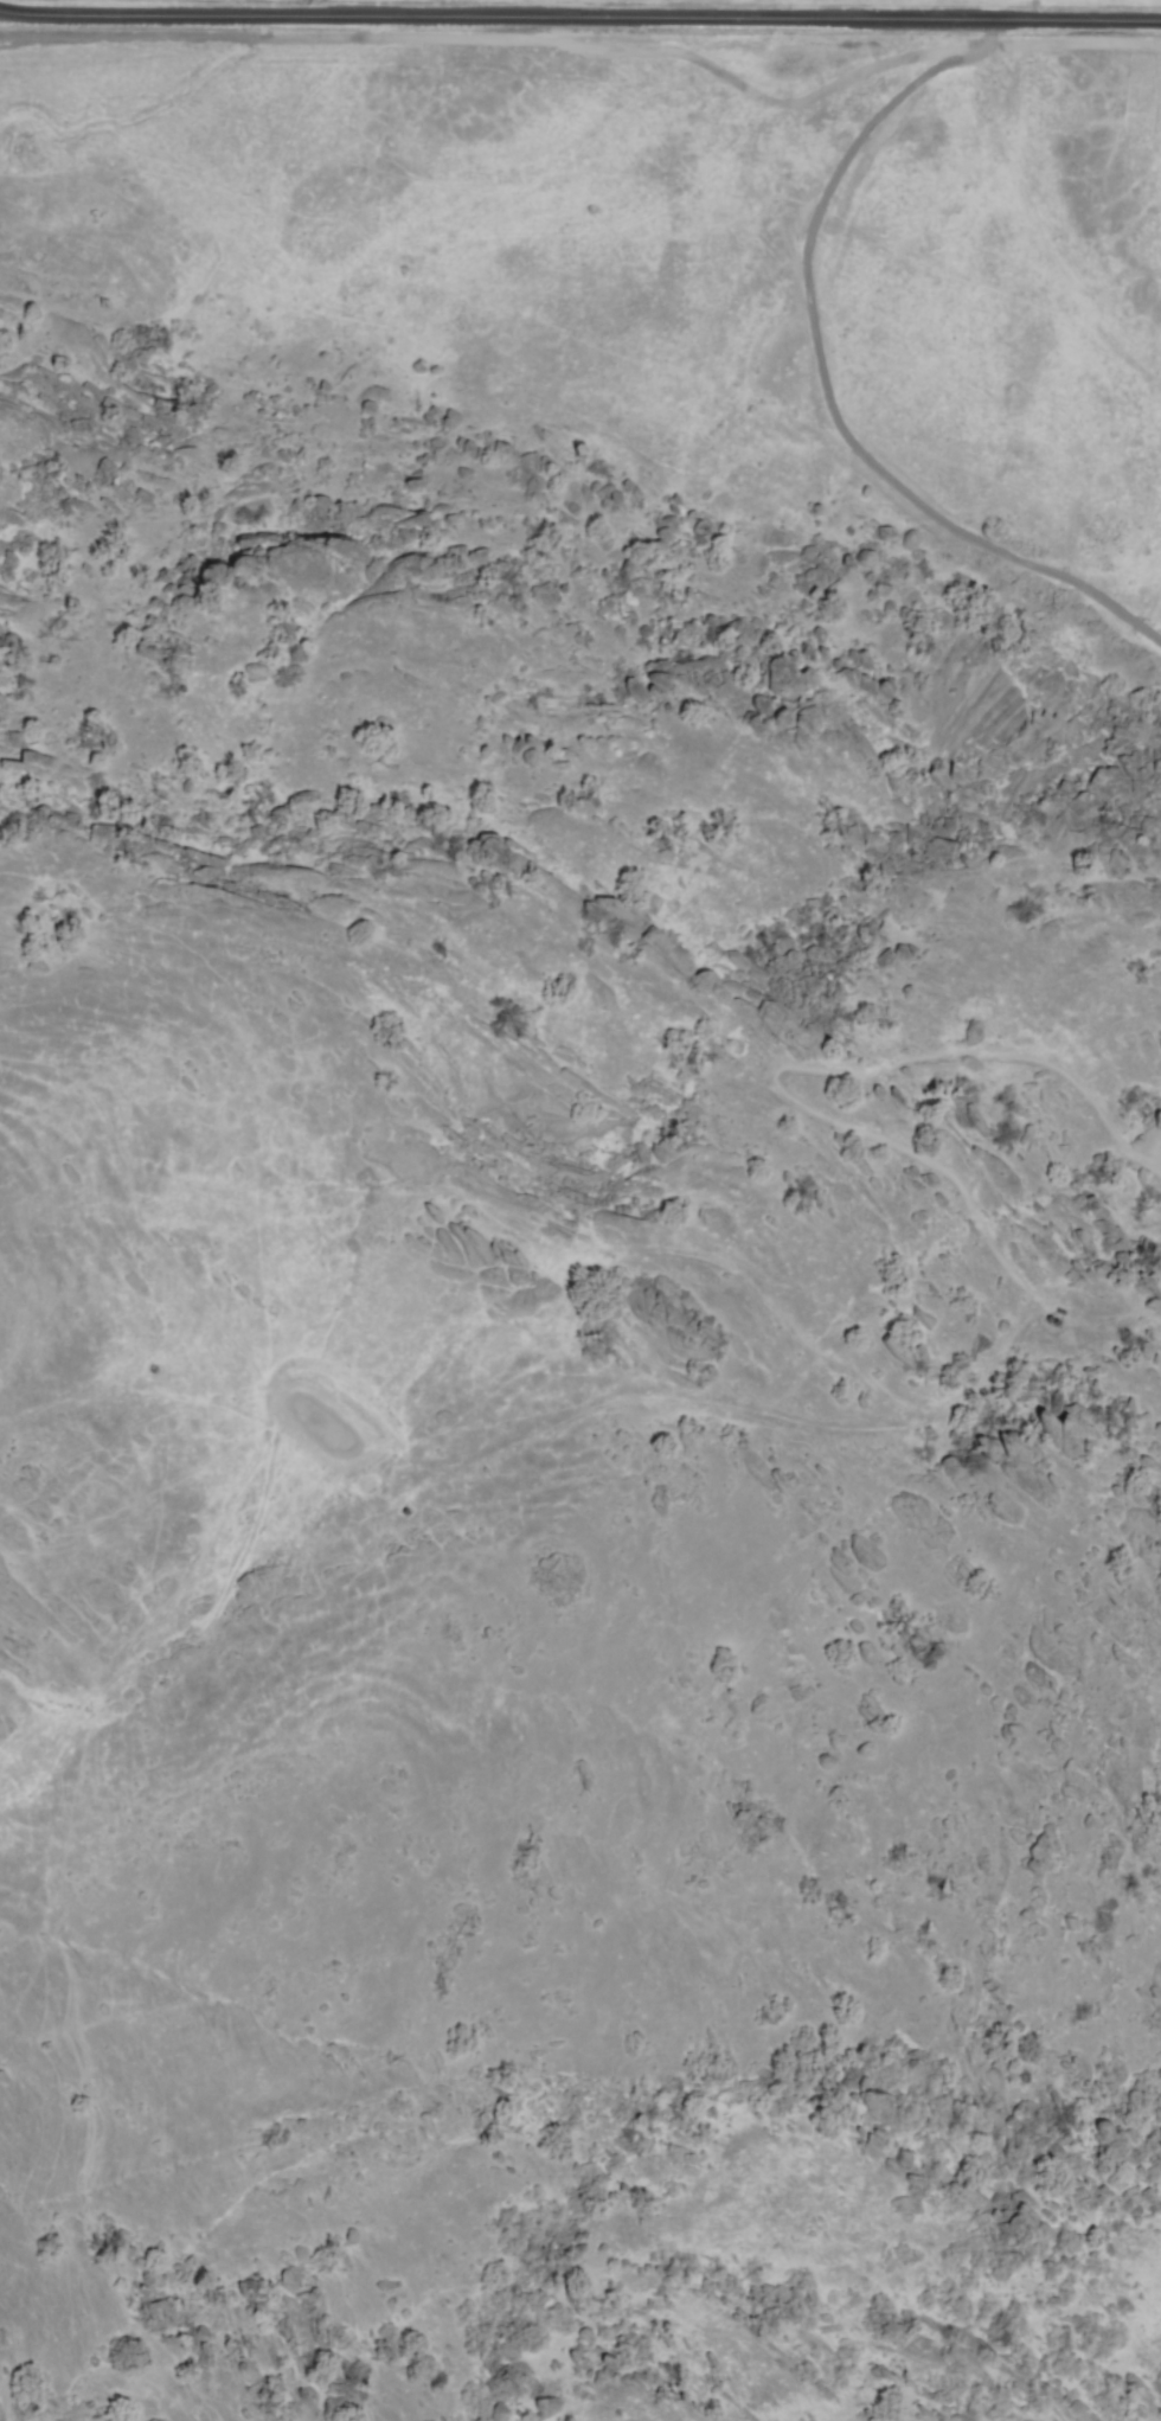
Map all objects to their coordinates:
road: (579, 17)
crop: (756, 209)

